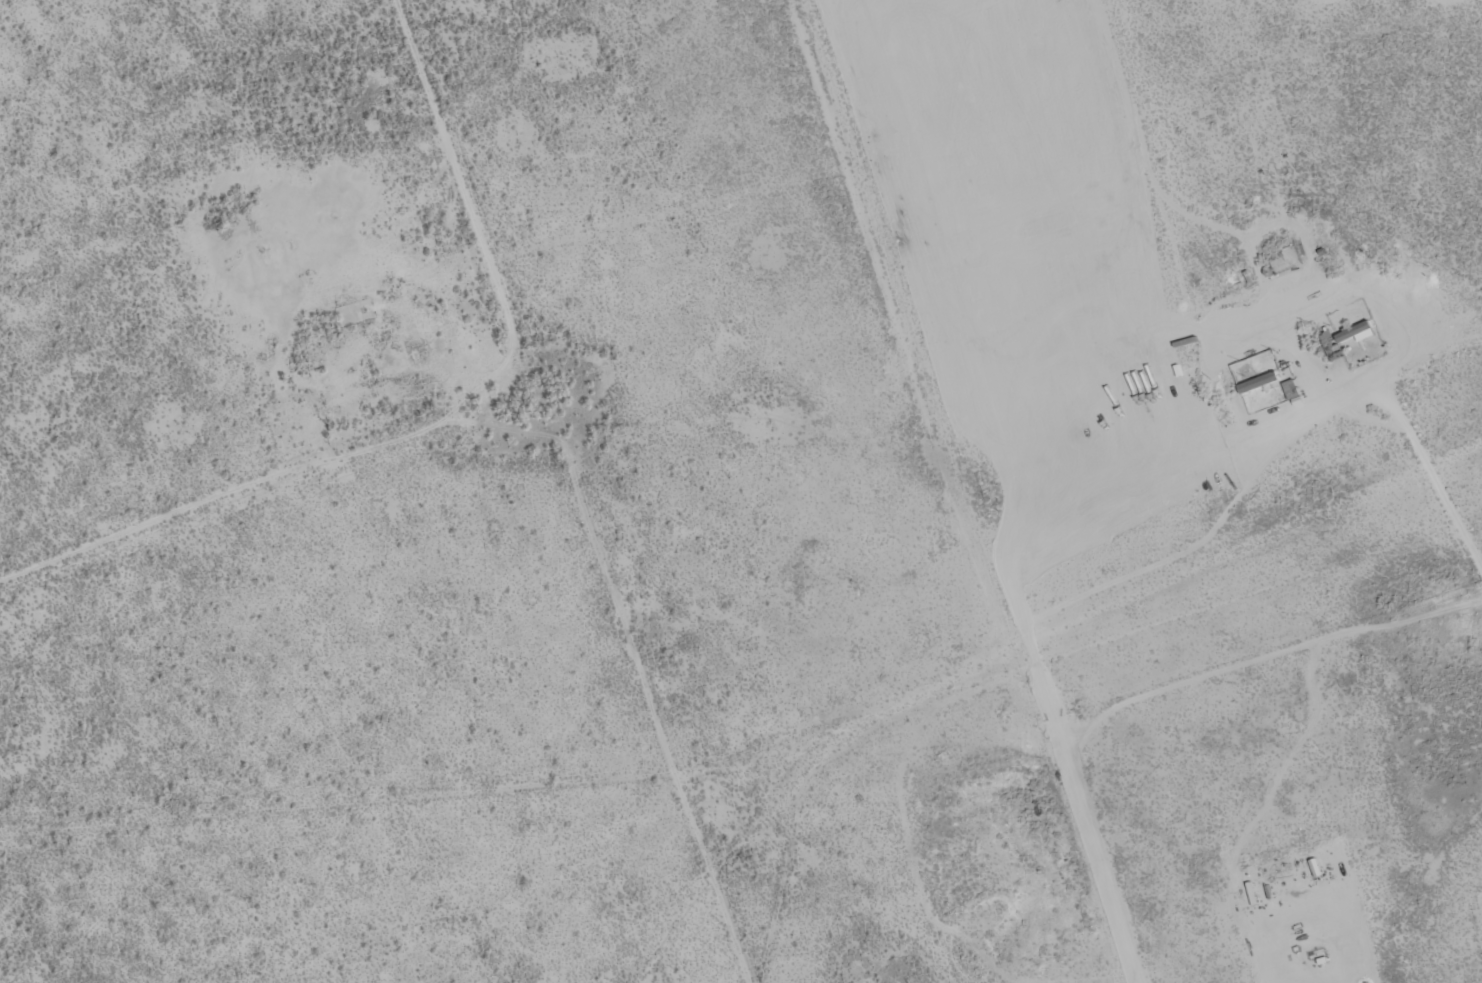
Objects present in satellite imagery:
building: (1356, 334)
road: (1198, 472)
road: (1171, 561)
road: (1265, 659)
road: (1094, 867)
road: (1206, 895)
road: (1347, 923)

